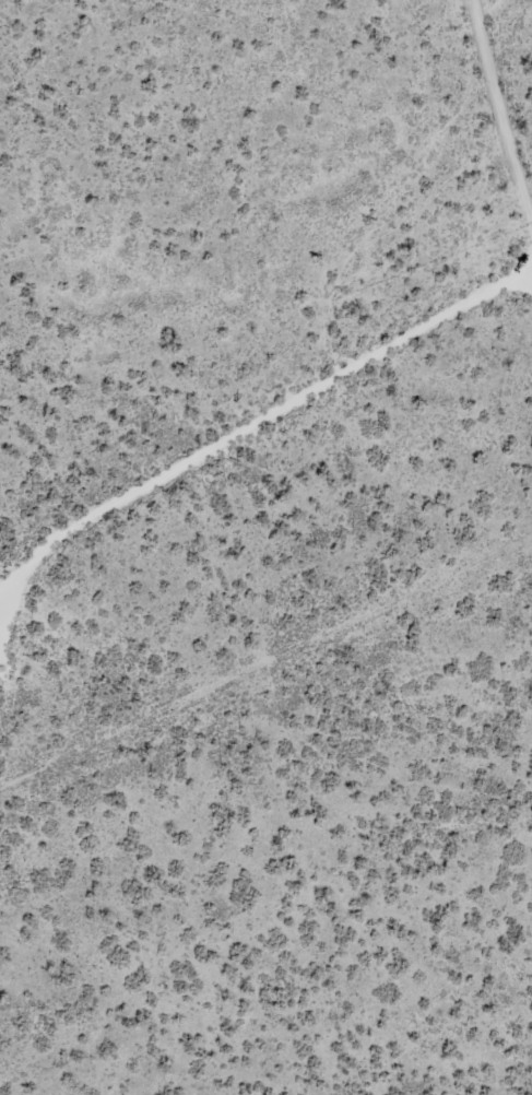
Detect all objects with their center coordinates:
road: (497, 117)

